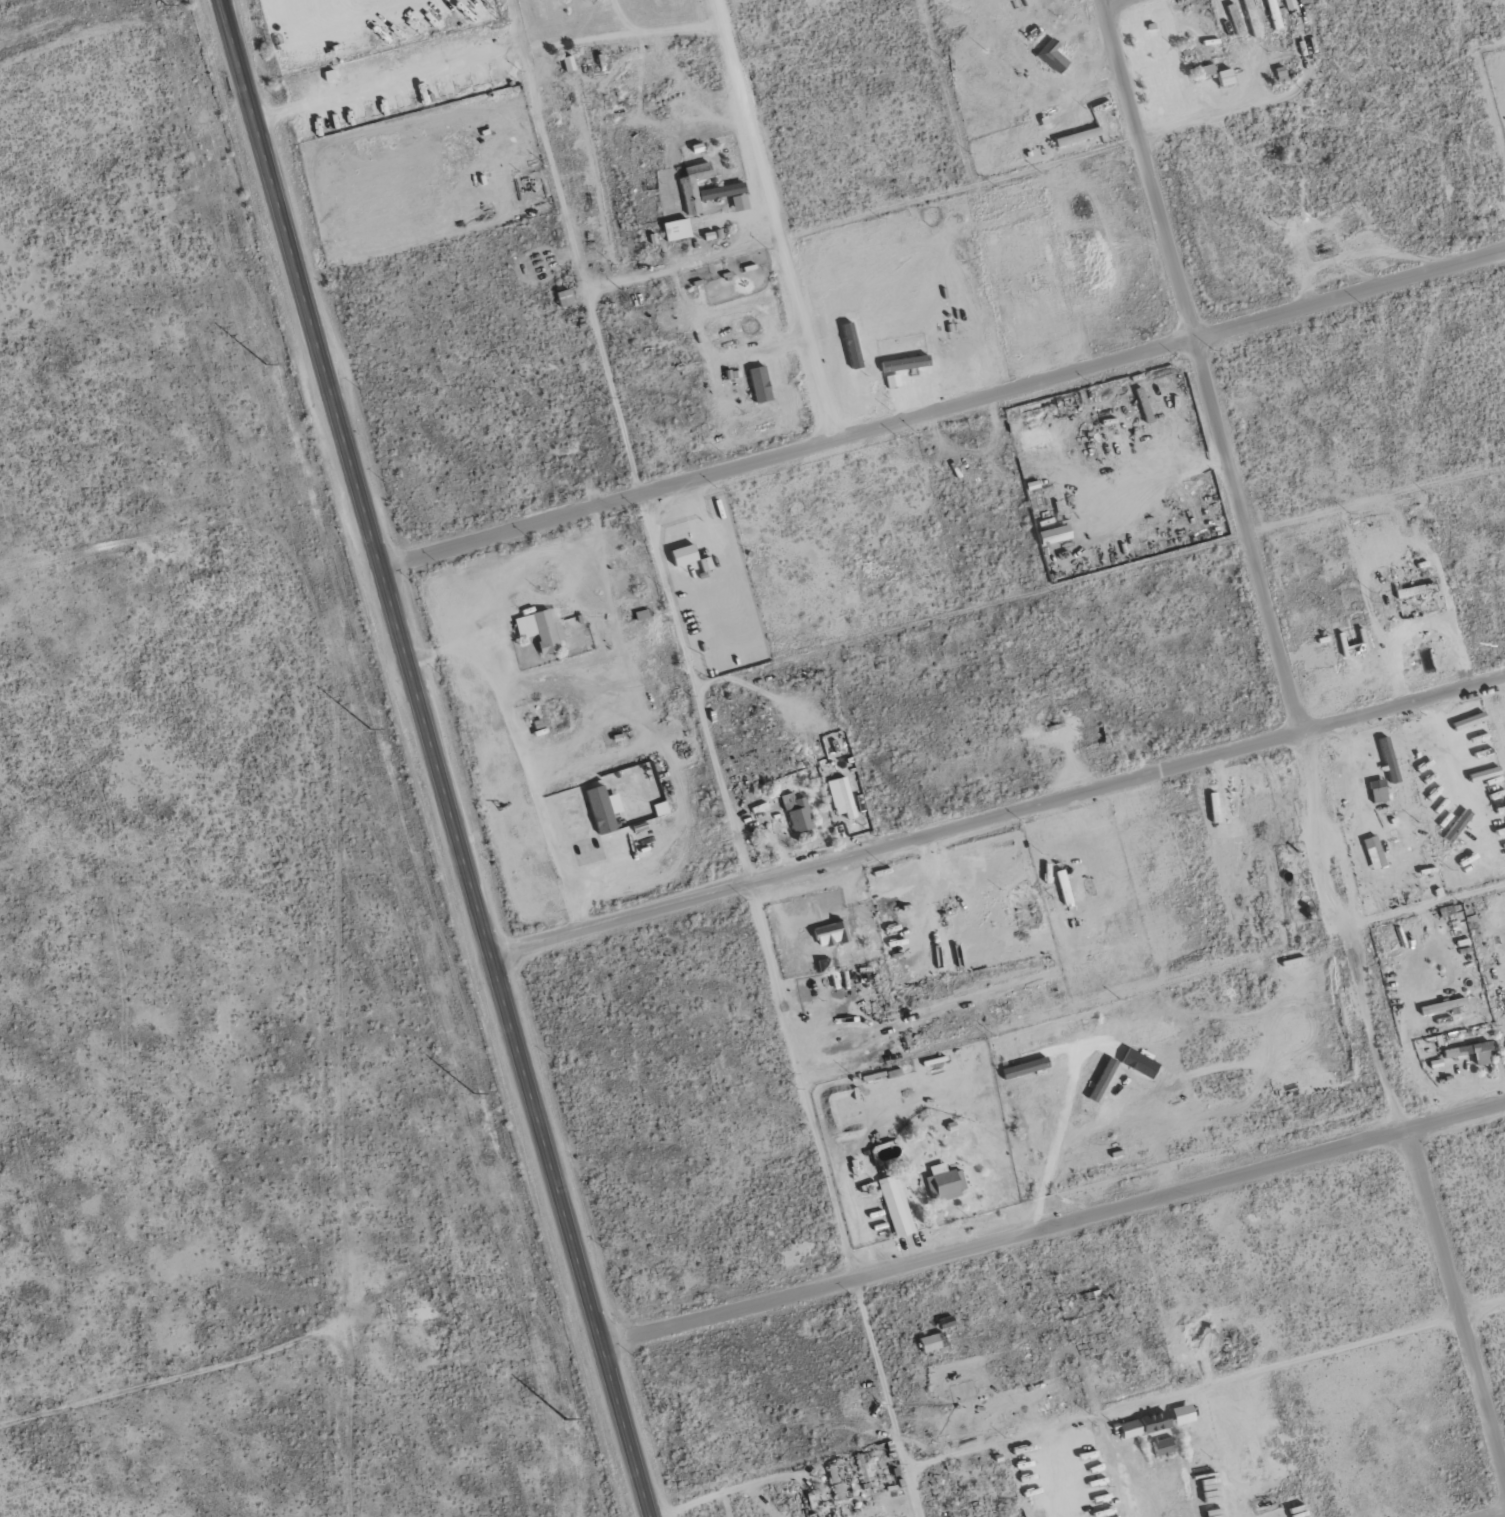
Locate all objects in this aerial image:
building: (582, 0)
road: (1107, 2)
power tower: (167, 3)
building: (1273, 14)
road: (664, 29)
building: (1052, 56)
building: (568, 63)
building: (1207, 69)
building: (1281, 74)
building: (1224, 77)
building: (1077, 136)
building: (693, 186)
building: (727, 194)
road: (775, 220)
building: (676, 229)
road: (573, 246)
road: (686, 265)
building: (564, 298)
building: (905, 363)
power tower: (267, 364)
road: (1197, 368)
building: (892, 380)
building: (759, 384)
building: (1142, 401)
road: (943, 407)
building: (1035, 437)
building: (1054, 535)
building: (683, 555)
building: (541, 629)
road: (1399, 707)
power tower: (369, 730)
road: (523, 756)
road: (436, 758)
building: (1378, 790)
road: (1358, 797)
building: (845, 799)
building: (600, 810)
building: (797, 813)
building: (1460, 821)
road: (894, 848)
road: (749, 885)
road: (1334, 909)
building: (831, 933)
building: (1482, 1054)
building: (1024, 1067)
power tower: (476, 1092)
road: (1459, 1114)
building: (944, 1182)
building: (896, 1207)
road: (1009, 1237)
road: (1459, 1299)
building: (932, 1341)
road: (1259, 1373)
road: (887, 1398)
building: (1182, 1414)
power tower: (566, 1419)
building: (1155, 1421)
building: (1130, 1428)
road: (1023, 1436)
building: (1163, 1446)
road: (1224, 1452)
road: (1491, 1513)

